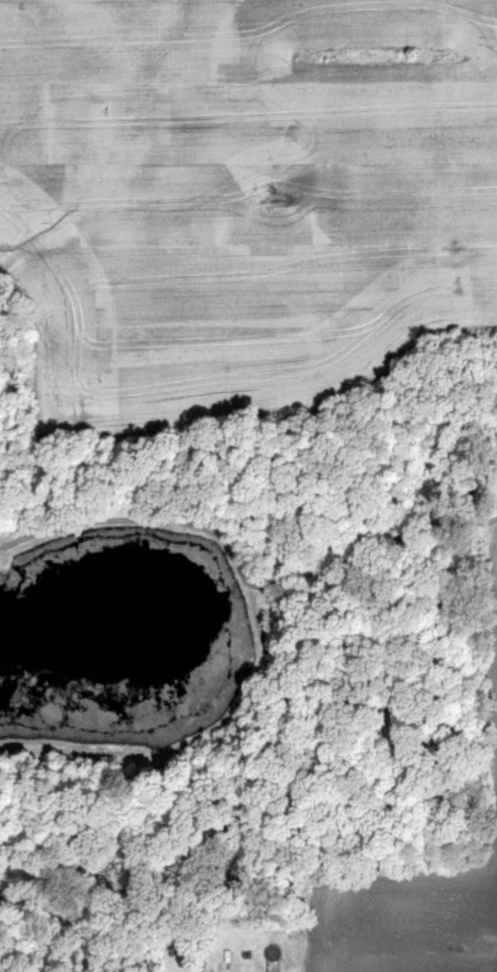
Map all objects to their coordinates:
crop: (245, 192)
crop: (419, 895)

